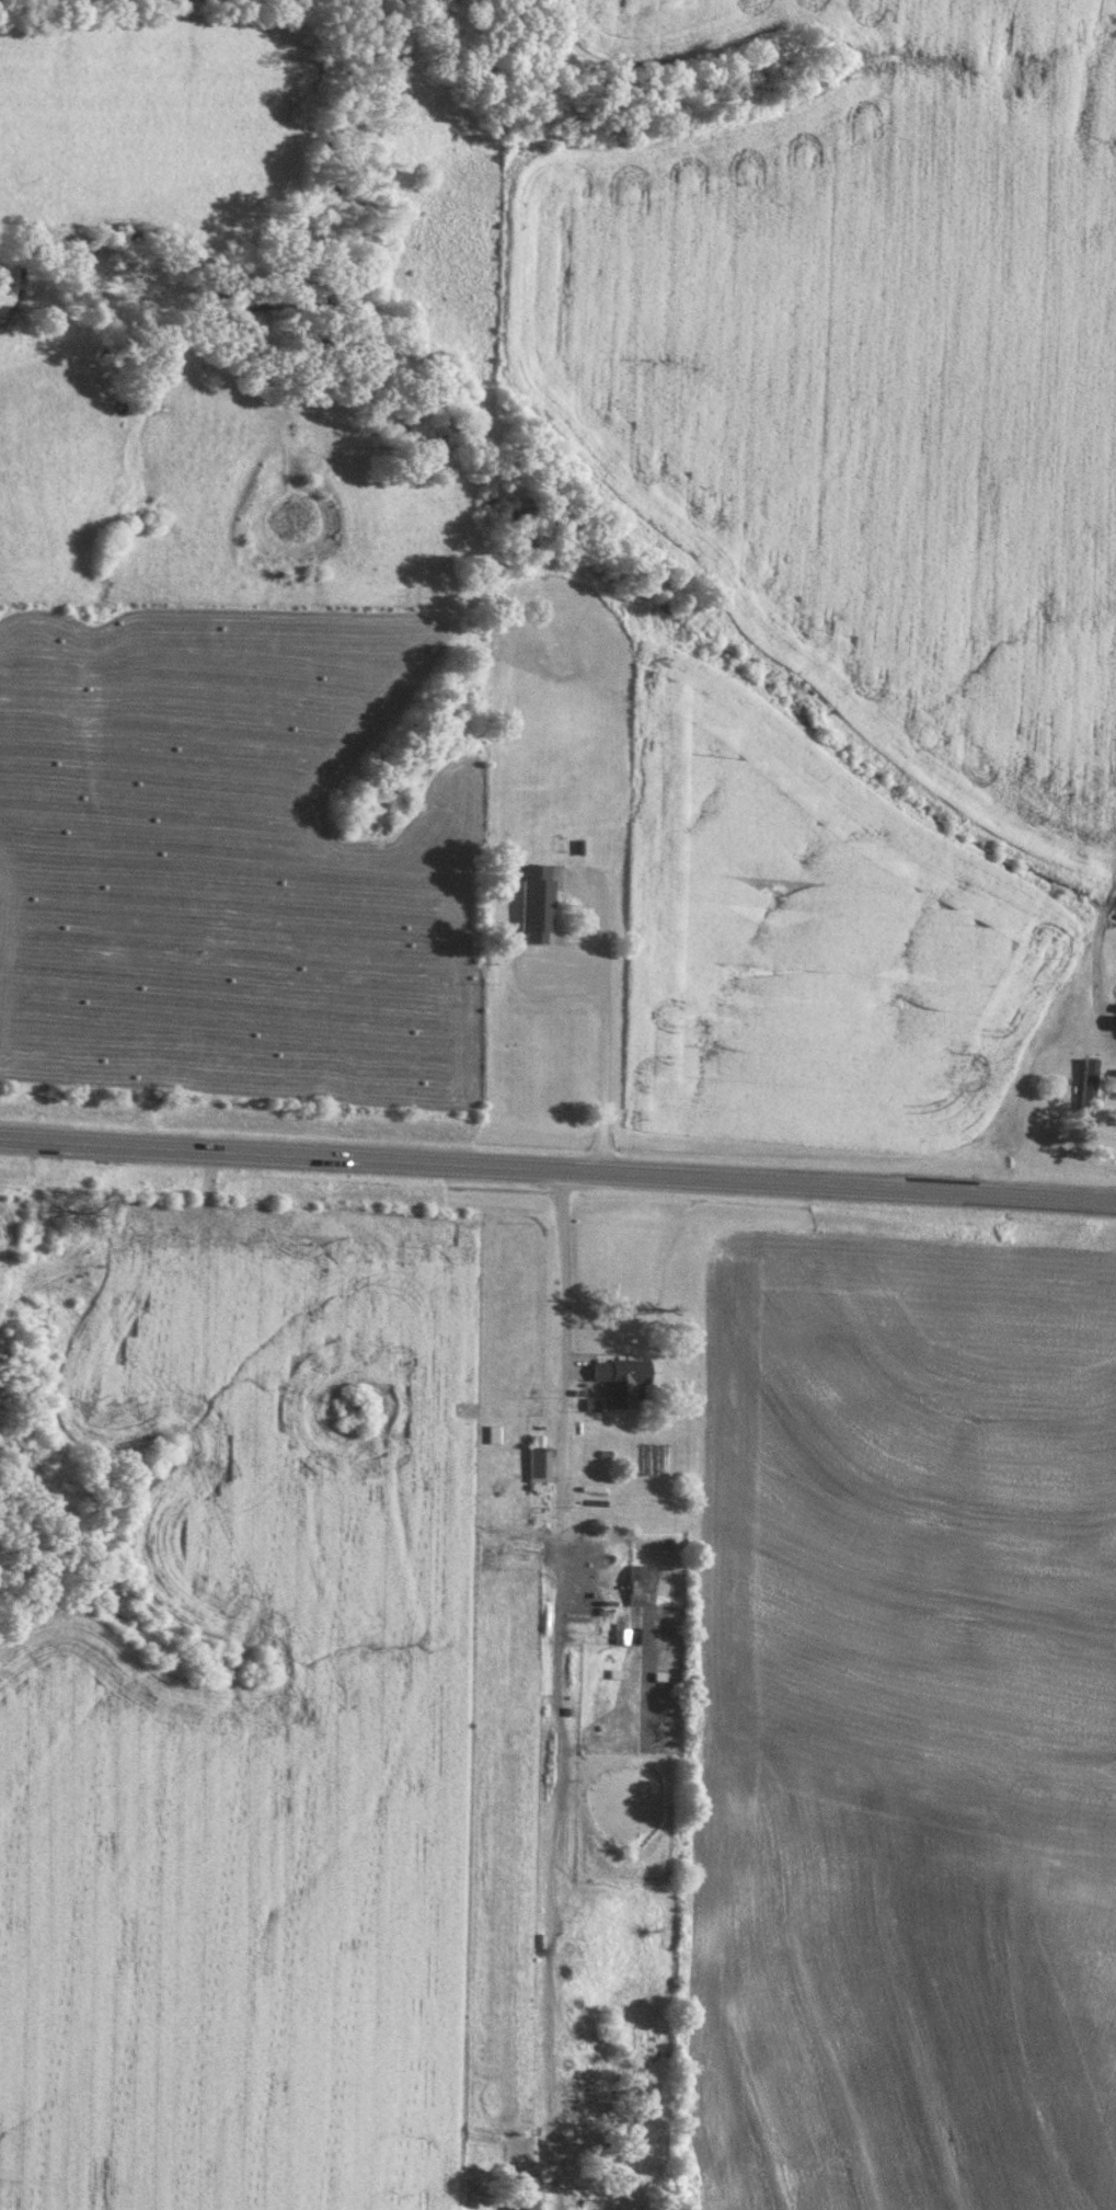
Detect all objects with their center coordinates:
building: (533, 902)
road: (603, 1004)
building: (1085, 1086)
road: (557, 1172)
building: (619, 1382)
building: (634, 1585)
road: (550, 1687)
building: (522, 2192)

